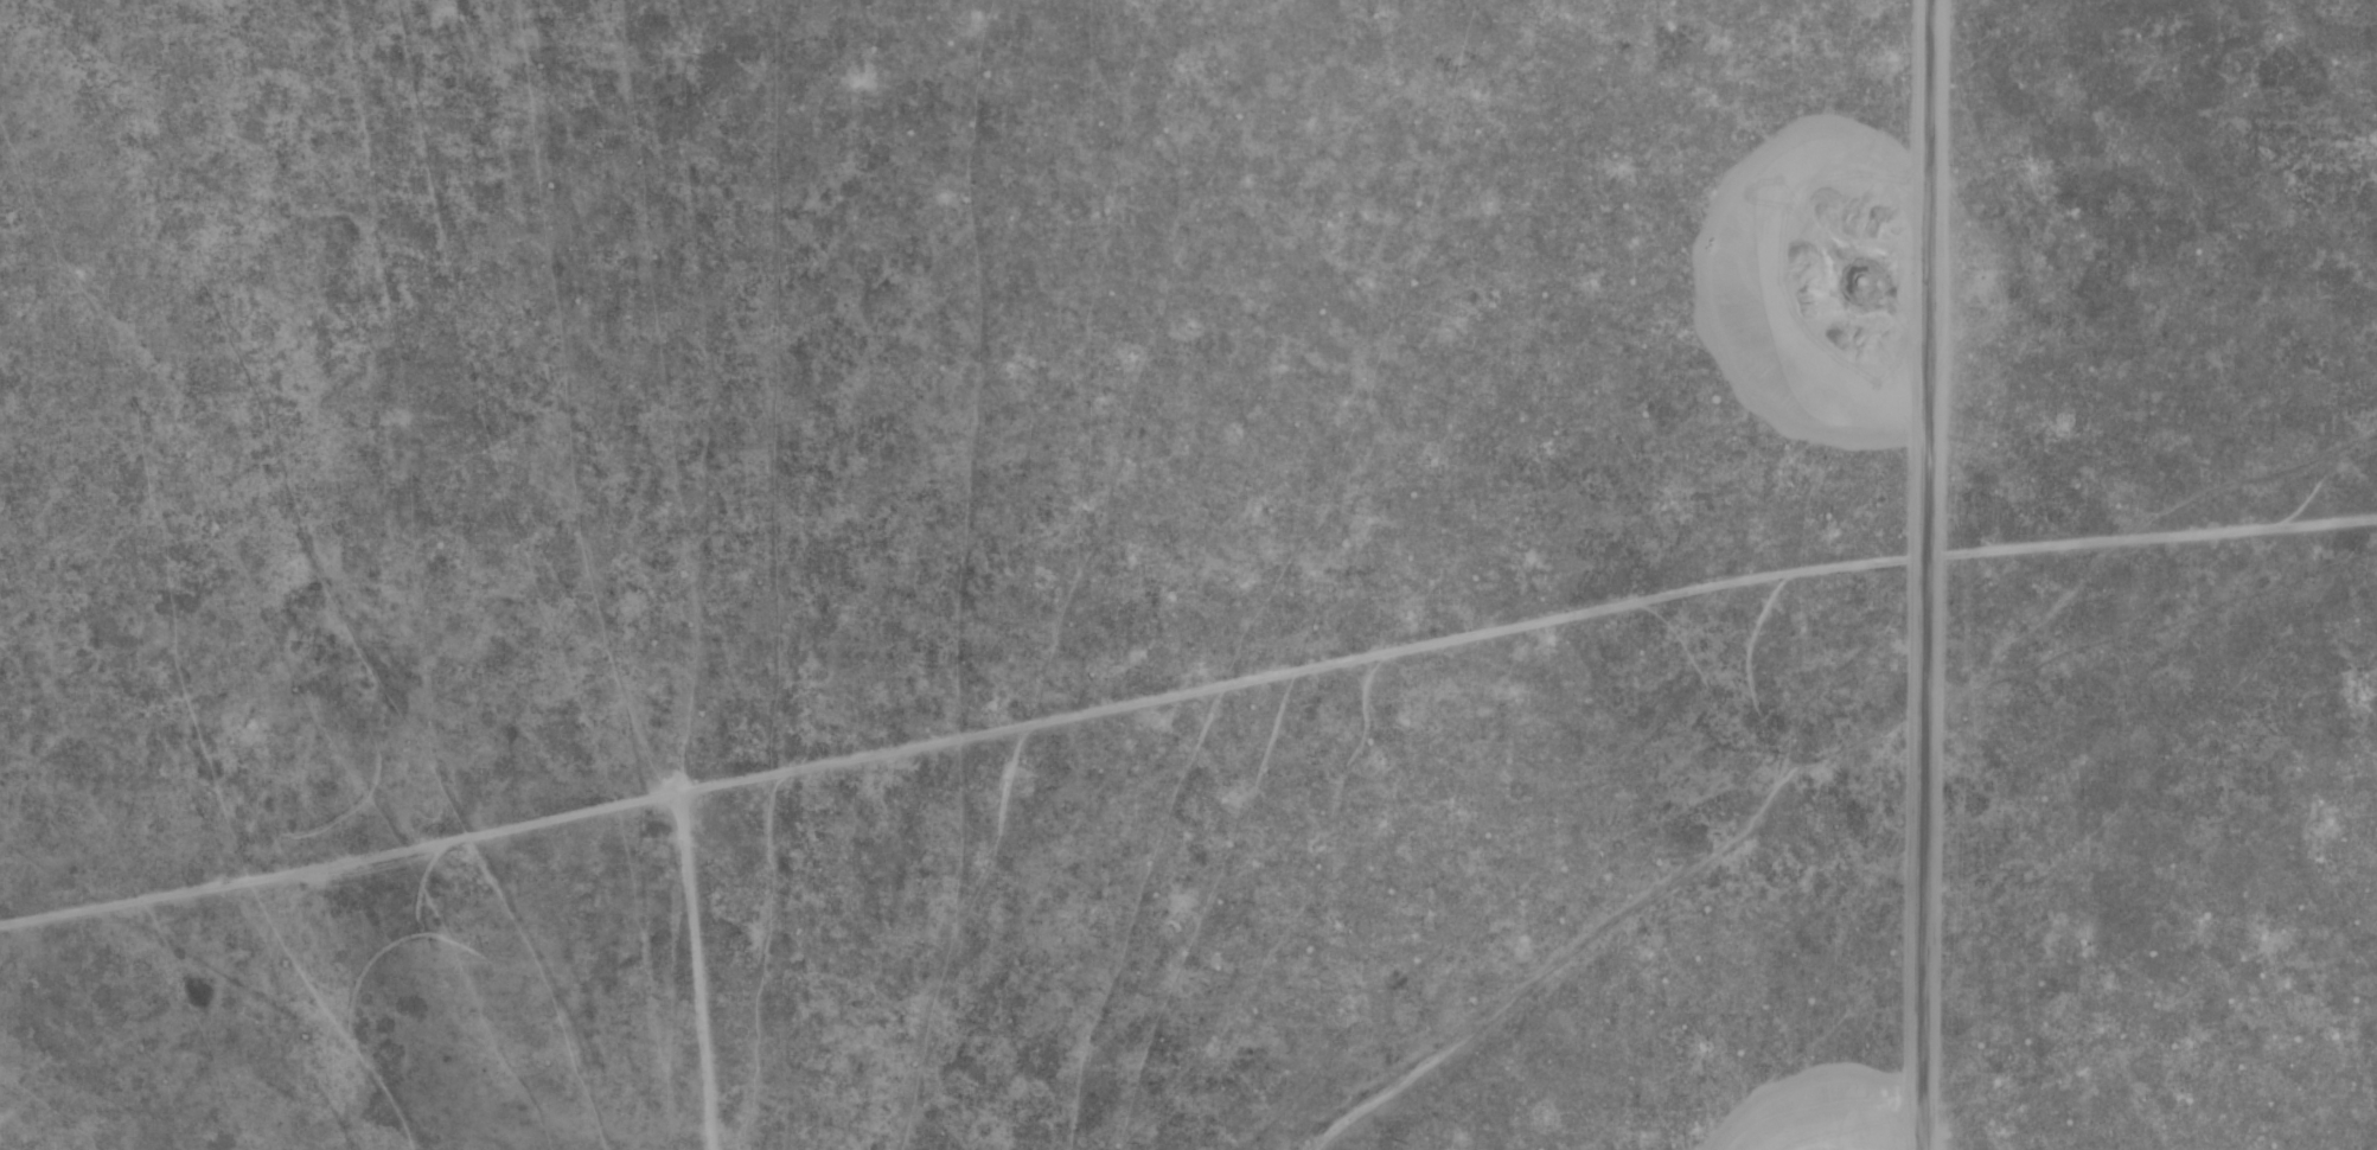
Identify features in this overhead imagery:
wind turbine: (1847, 271)

